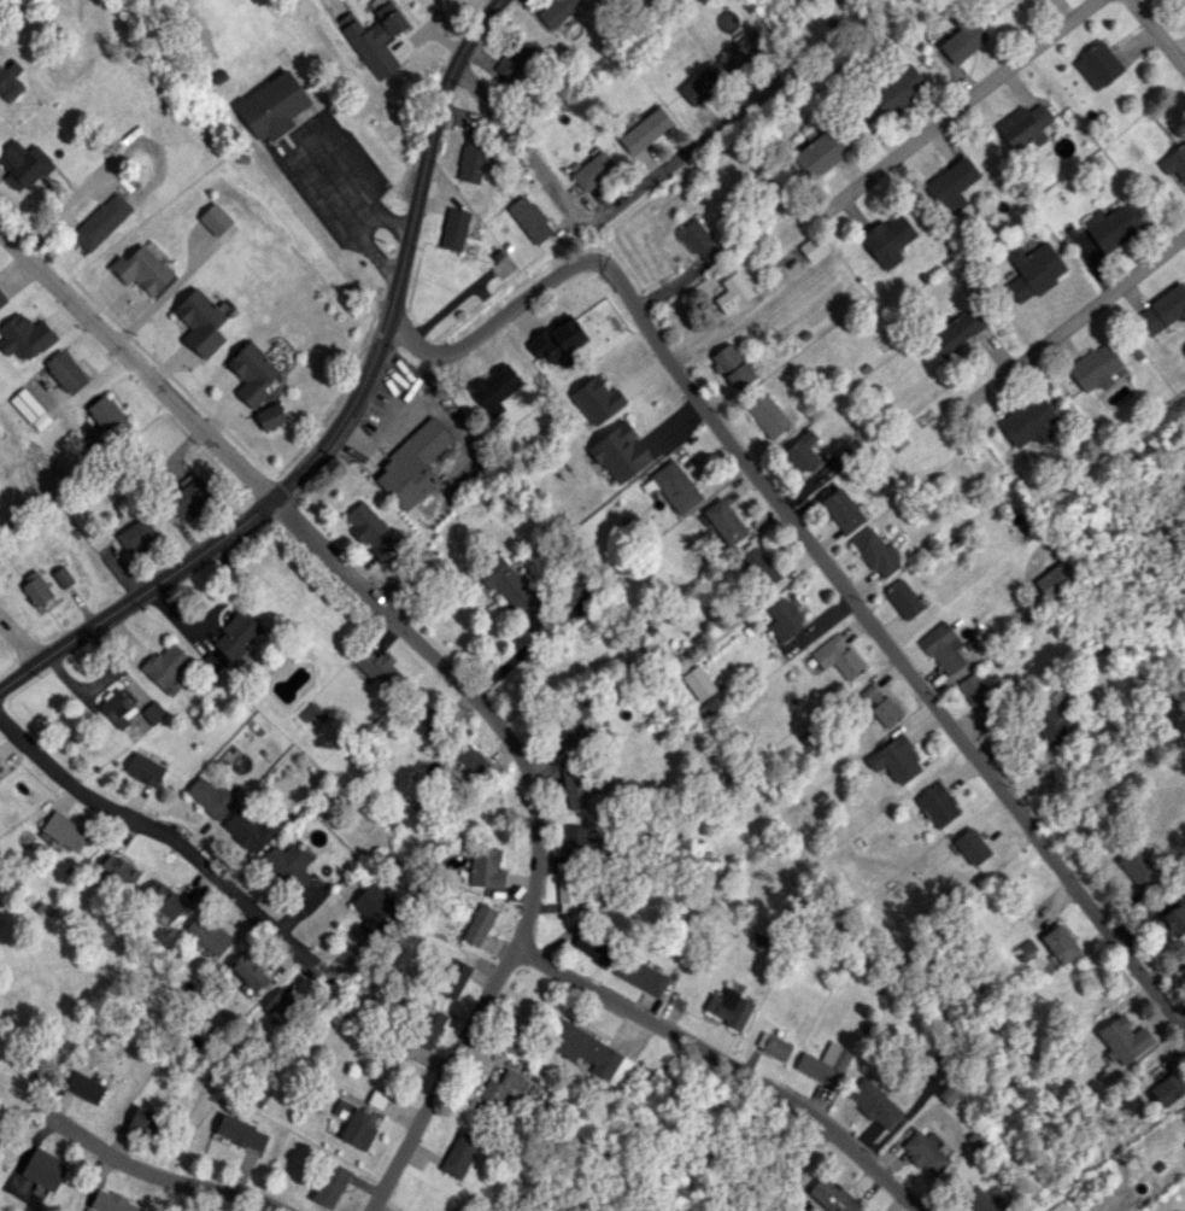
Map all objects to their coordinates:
building: (555, 12)
road: (1163, 28)
building: (374, 37)
building: (963, 37)
building: (741, 51)
building: (512, 62)
building: (1097, 65)
building: (10, 81)
building: (700, 84)
building: (896, 87)
road: (976, 89)
building: (272, 105)
building: (1023, 125)
building: (645, 130)
road: (299, 150)
building: (820, 153)
building: (474, 157)
building: (1175, 160)
building: (22, 163)
building: (593, 170)
building: (951, 186)
building: (215, 218)
building: (529, 218)
building: (101, 221)
building: (1111, 226)
building: (453, 229)
road: (599, 238)
building: (887, 239)
building: (698, 241)
building: (813, 247)
building: (141, 269)
building: (1032, 270)
building: (733, 292)
building: (1, 297)
road: (1087, 308)
building: (1162, 310)
building: (200, 322)
building: (956, 330)
building: (24, 337)
building: (558, 339)
building: (733, 365)
building: (1095, 367)
road: (135, 368)
building: (65, 370)
building: (252, 373)
building: (495, 388)
building: (597, 399)
building: (29, 409)
building: (767, 415)
building: (107, 416)
building: (270, 416)
road: (352, 416)
building: (1027, 420)
building: (620, 452)
building: (802, 452)
building: (412, 464)
building: (675, 486)
building: (188, 497)
building: (843, 510)
building: (723, 521)
building: (366, 525)
building: (135, 536)
road: (814, 548)
building: (876, 552)
building: (759, 567)
building: (63, 577)
building: (1055, 578)
building: (508, 585)
building: (35, 589)
building: (571, 598)
building: (903, 598)
building: (784, 619)
building: (236, 633)
road: (22, 638)
building: (943, 648)
building: (838, 657)
building: (374, 666)
building: (168, 667)
road: (96, 681)
building: (698, 683)
building: (976, 694)
building: (880, 704)
building: (118, 708)
building: (153, 712)
building: (575, 720)
building: (1048, 720)
building: (896, 759)
building: (469, 760)
building: (145, 770)
building: (574, 786)
building: (211, 797)
building: (937, 805)
road: (539, 824)
road: (153, 826)
building: (250, 830)
building: (64, 831)
building: (579, 841)
building: (970, 846)
building: (288, 864)
building: (1138, 866)
building: (486, 867)
building: (116, 872)
building: (567, 894)
building: (164, 899)
building: (374, 907)
building: (1175, 919)
building: (479, 924)
building: (209, 934)
building: (1060, 943)
building: (593, 947)
building: (1183, 967)
building: (248, 971)
building: (639, 975)
building: (454, 978)
building: (280, 1005)
building: (728, 1007)
building: (428, 1026)
road: (661, 1030)
building: (1125, 1039)
building: (773, 1045)
building: (589, 1053)
building: (825, 1064)
building: (938, 1069)
building: (84, 1087)
building: (1167, 1089)
building: (498, 1090)
building: (950, 1092)
building: (376, 1099)
building: (874, 1102)
building: (1183, 1113)
building: (143, 1119)
building: (356, 1124)
building: (241, 1133)
building: (1184, 1143)
building: (926, 1153)
building: (460, 1156)
road: (861, 1158)
building: (43, 1169)
road: (162, 1180)
building: (328, 1184)
building: (832, 1195)
building: (976, 1200)
building: (112, 1203)

